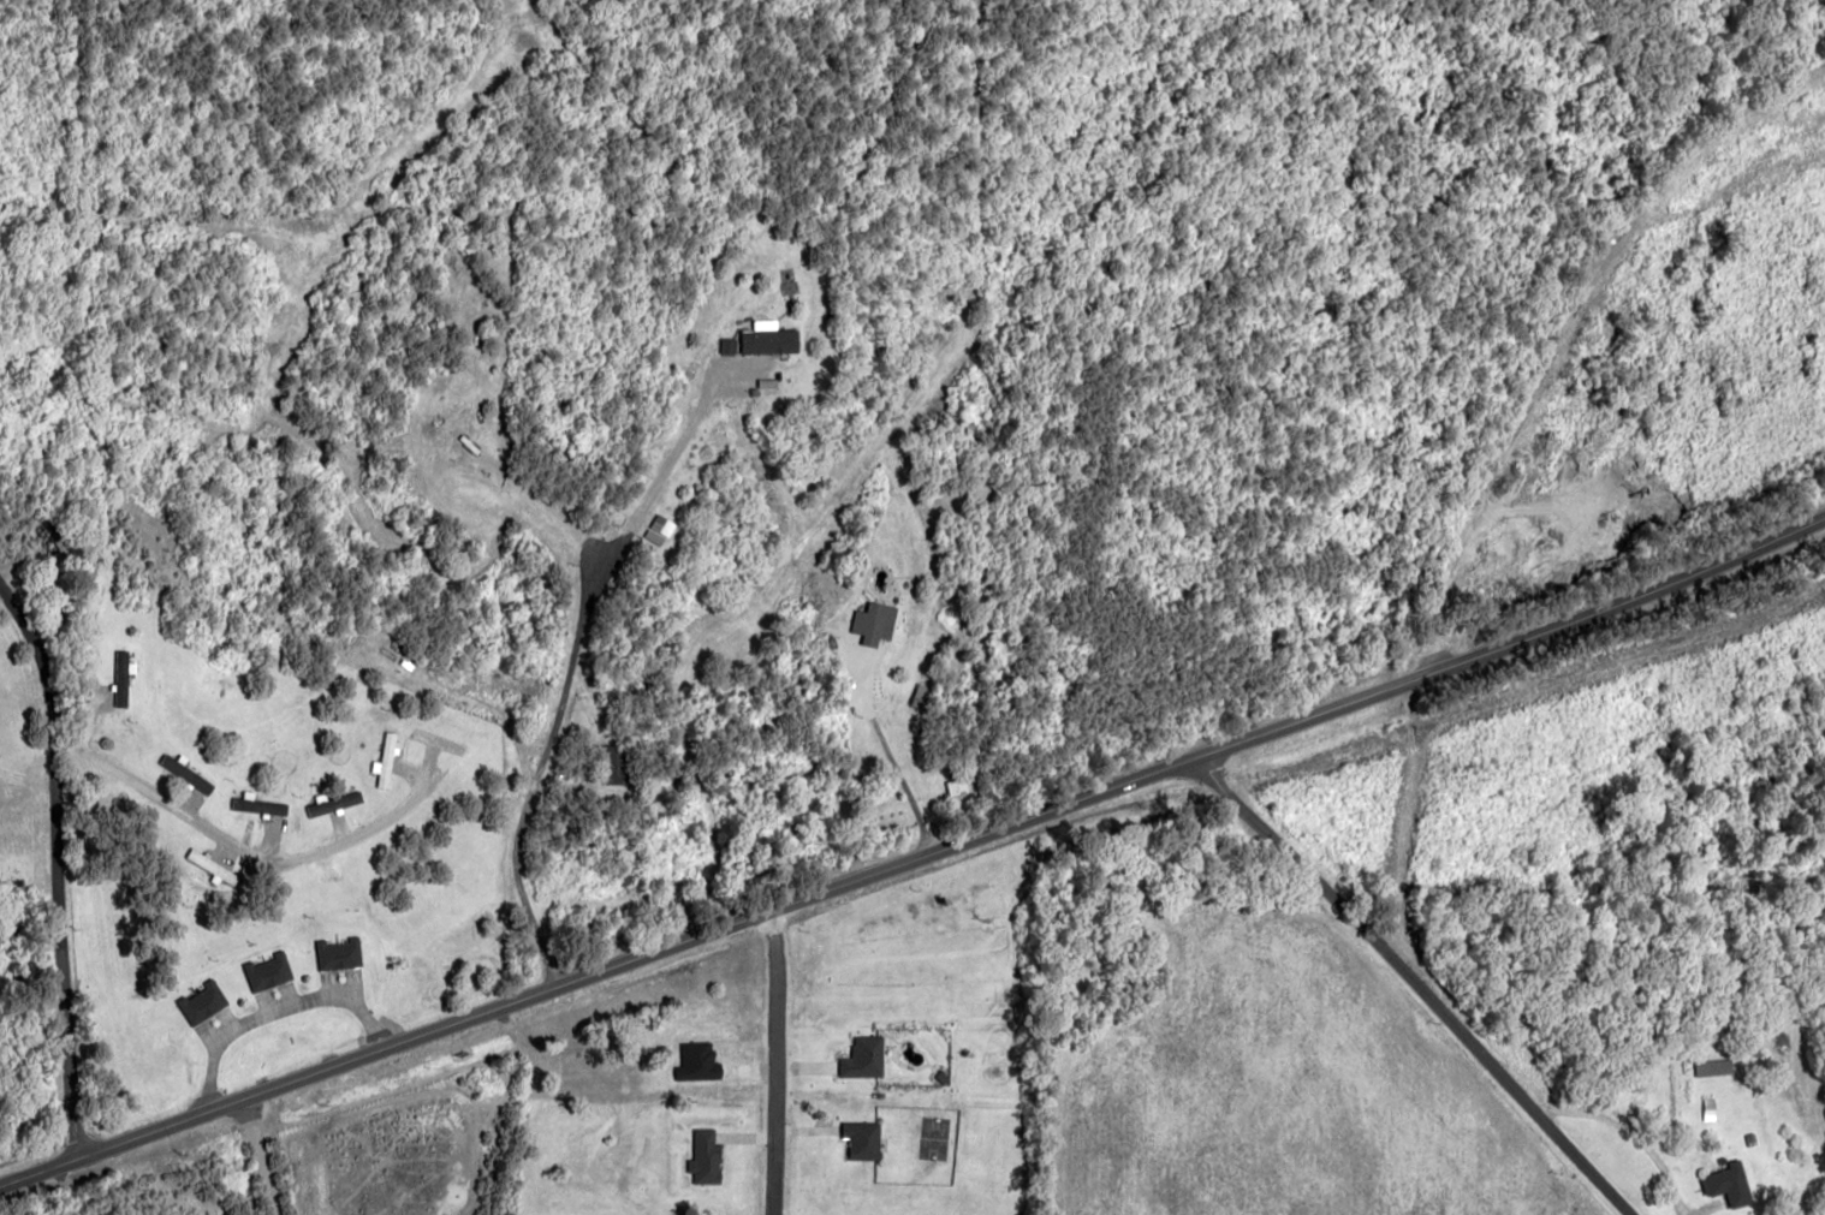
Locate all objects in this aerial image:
building: (771, 341)
building: (872, 624)
building: (121, 679)
building: (386, 760)
building: (613, 763)
building: (329, 804)
building: (258, 805)
road: (915, 860)
road: (63, 864)
building: (212, 865)
building: (339, 953)
building: (268, 971)
road: (1402, 983)
building: (202, 1001)
building: (863, 1058)
building: (1713, 1066)
building: (1710, 1108)
building: (863, 1139)
building: (706, 1156)
building: (1730, 1184)

